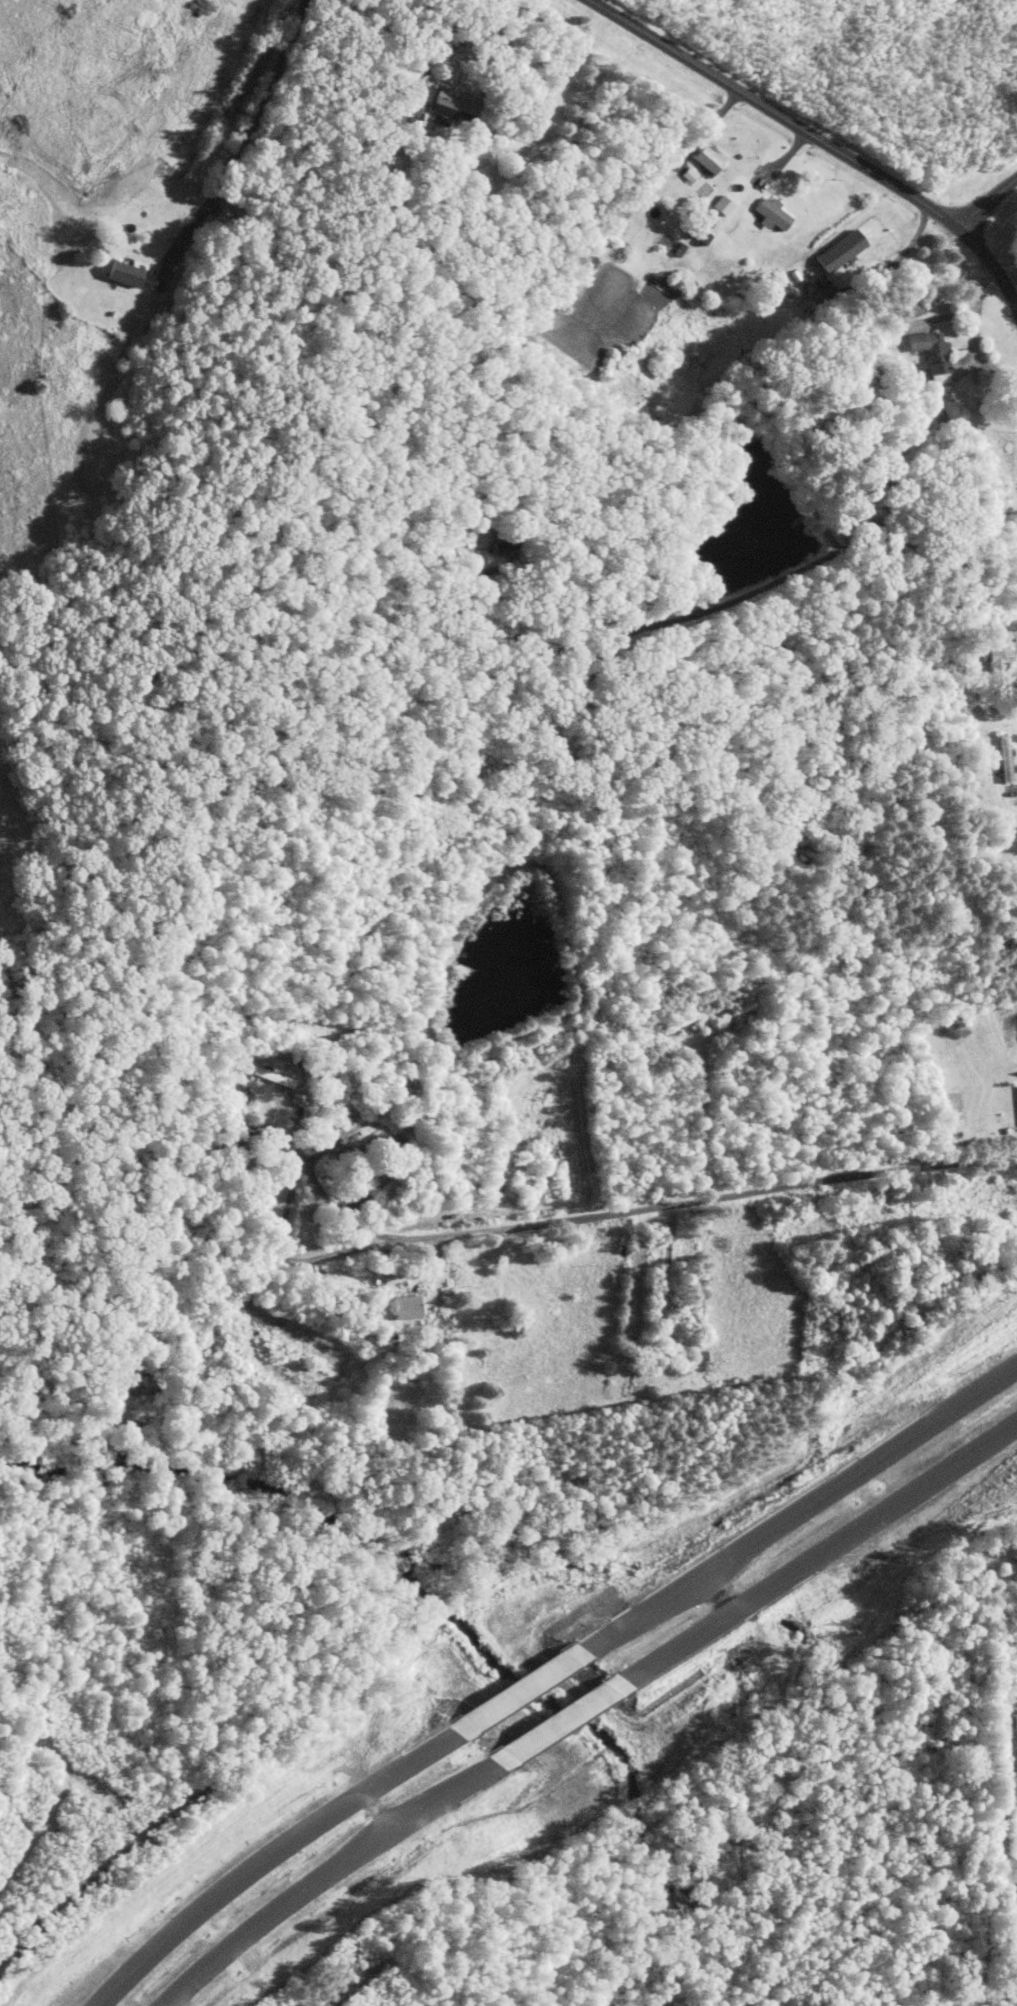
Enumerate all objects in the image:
road: (452, 45)
road: (481, 68)
building: (452, 106)
road: (249, 128)
road: (817, 138)
building: (708, 160)
road: (986, 201)
building: (721, 205)
building: (771, 214)
building: (708, 220)
building: (679, 249)
building: (838, 251)
road: (892, 263)
building: (122, 274)
road: (974, 333)
building: (930, 354)
road: (893, 552)
road: (627, 634)
building: (997, 657)
building: (1004, 758)
building: (262, 1072)
road: (305, 1162)
road: (651, 1206)
building: (406, 1307)
building: (700, 1359)
road: (794, 1514)
road: (813, 1555)
road: (520, 1692)
road: (558, 1721)
road: (275, 1854)
road: (328, 1871)

